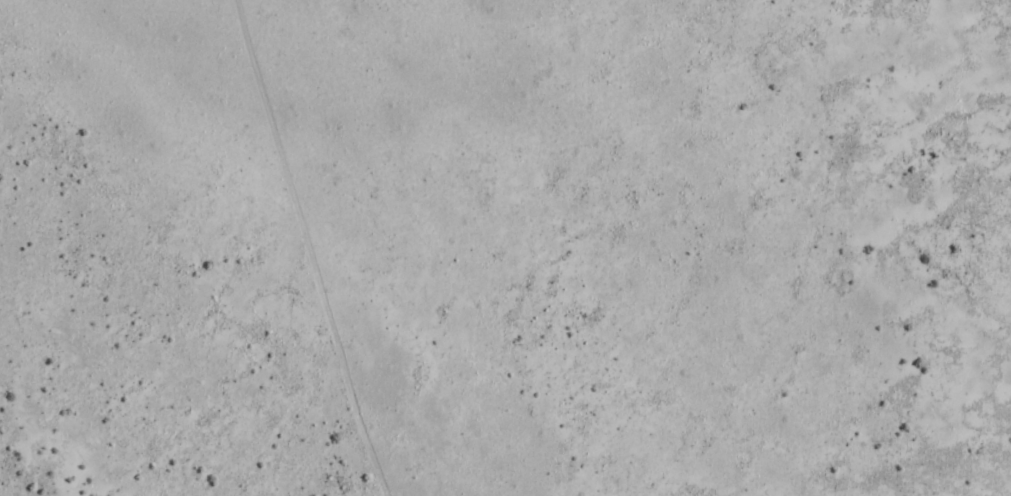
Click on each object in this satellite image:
road: (130, 247)

